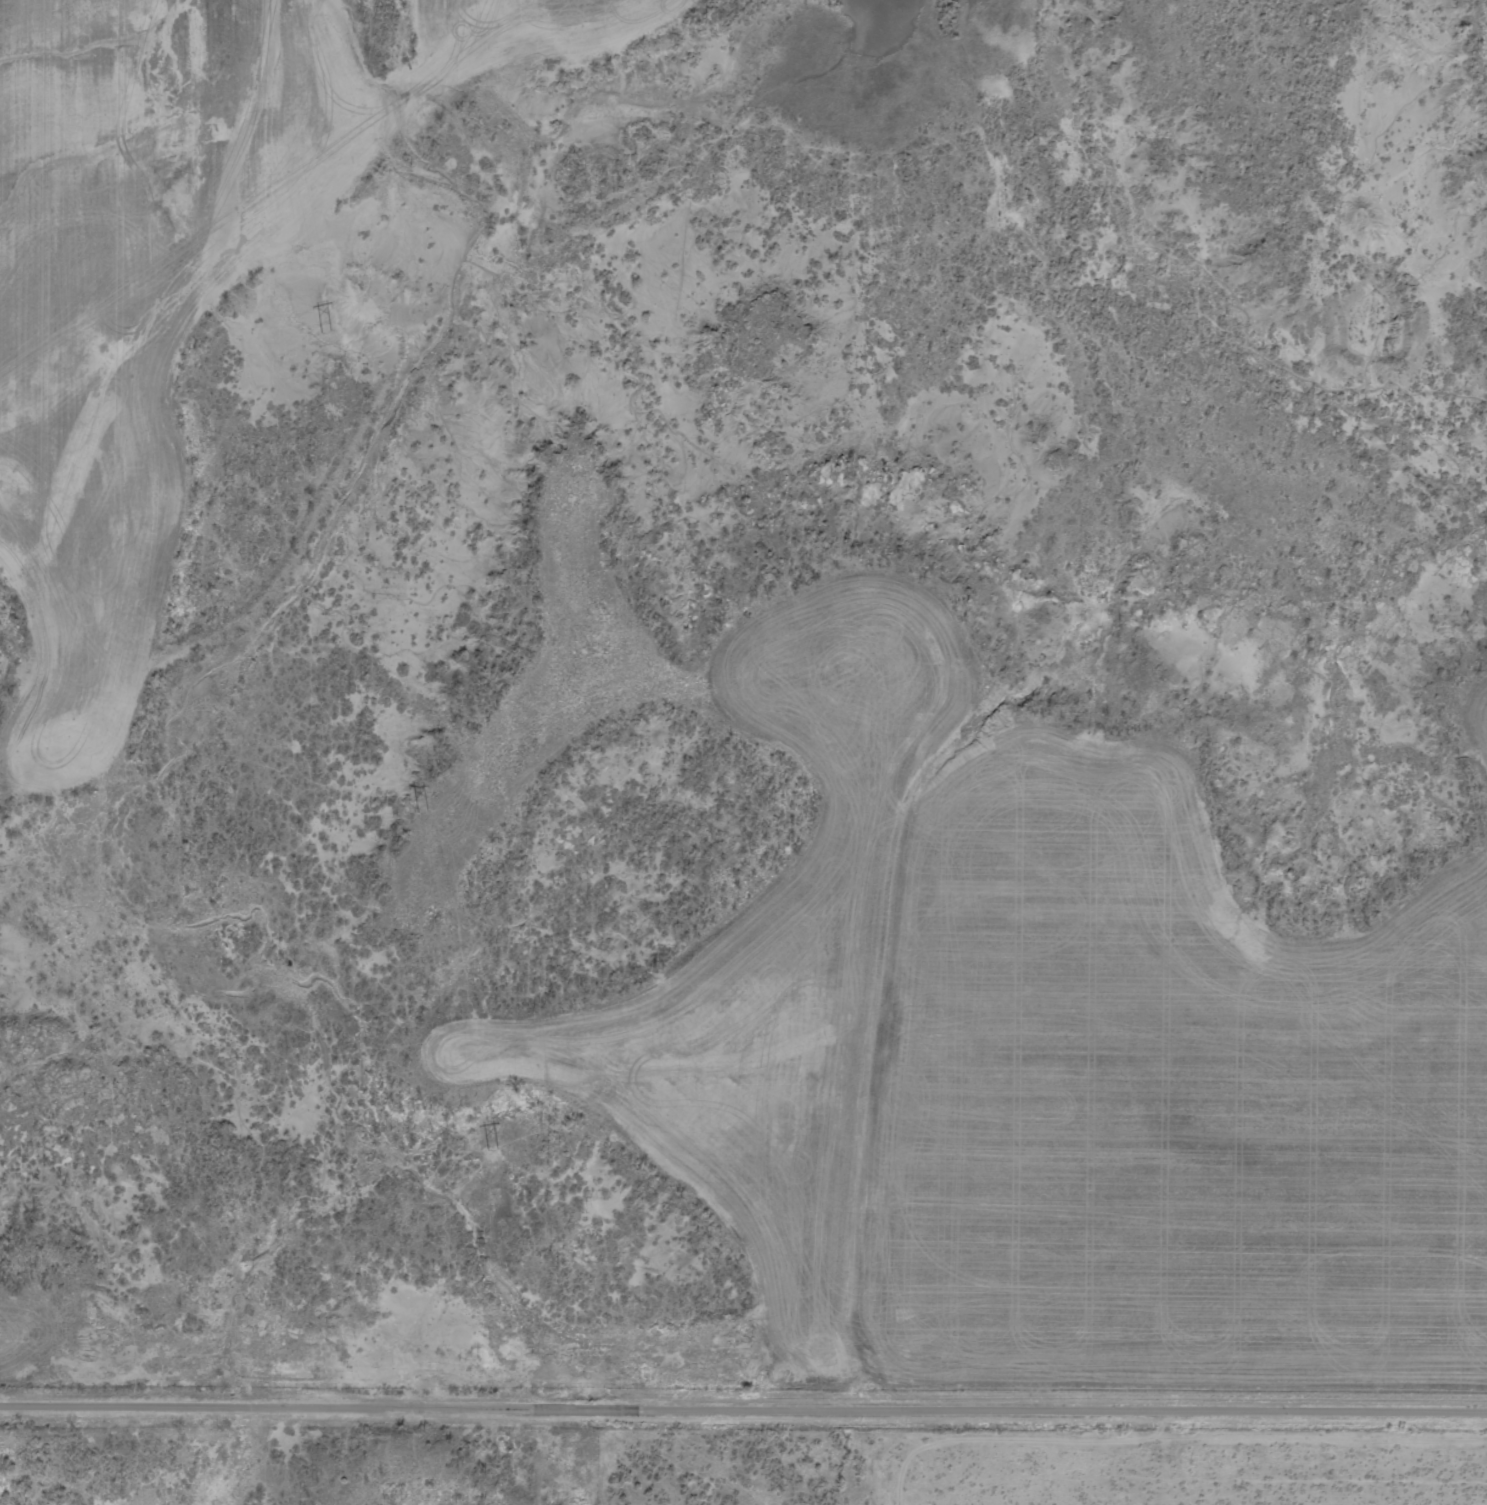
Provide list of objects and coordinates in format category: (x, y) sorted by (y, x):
road: (743, 1407)

